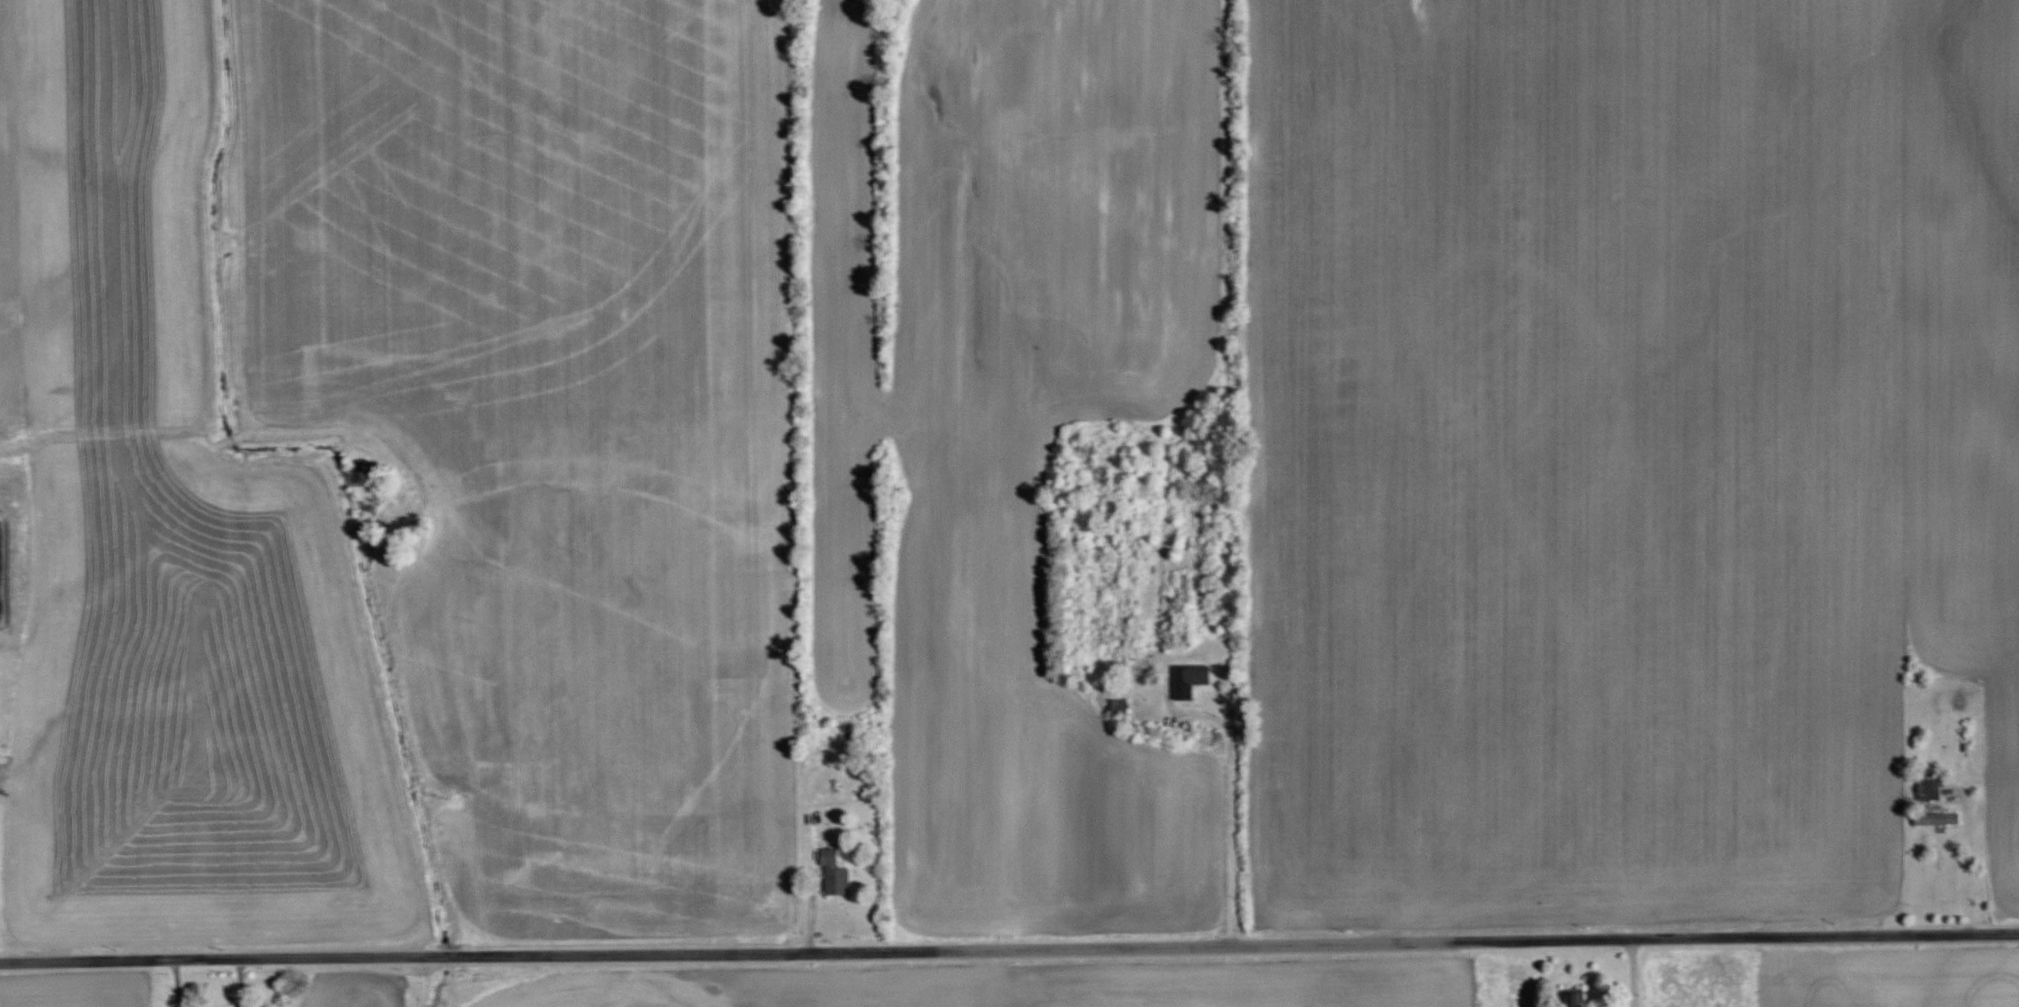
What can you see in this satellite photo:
building: (1190, 678)
building: (1120, 707)
building: (1152, 729)
building: (1929, 787)
building: (1937, 817)
building: (835, 873)
road: (1009, 945)
building: (1576, 997)

